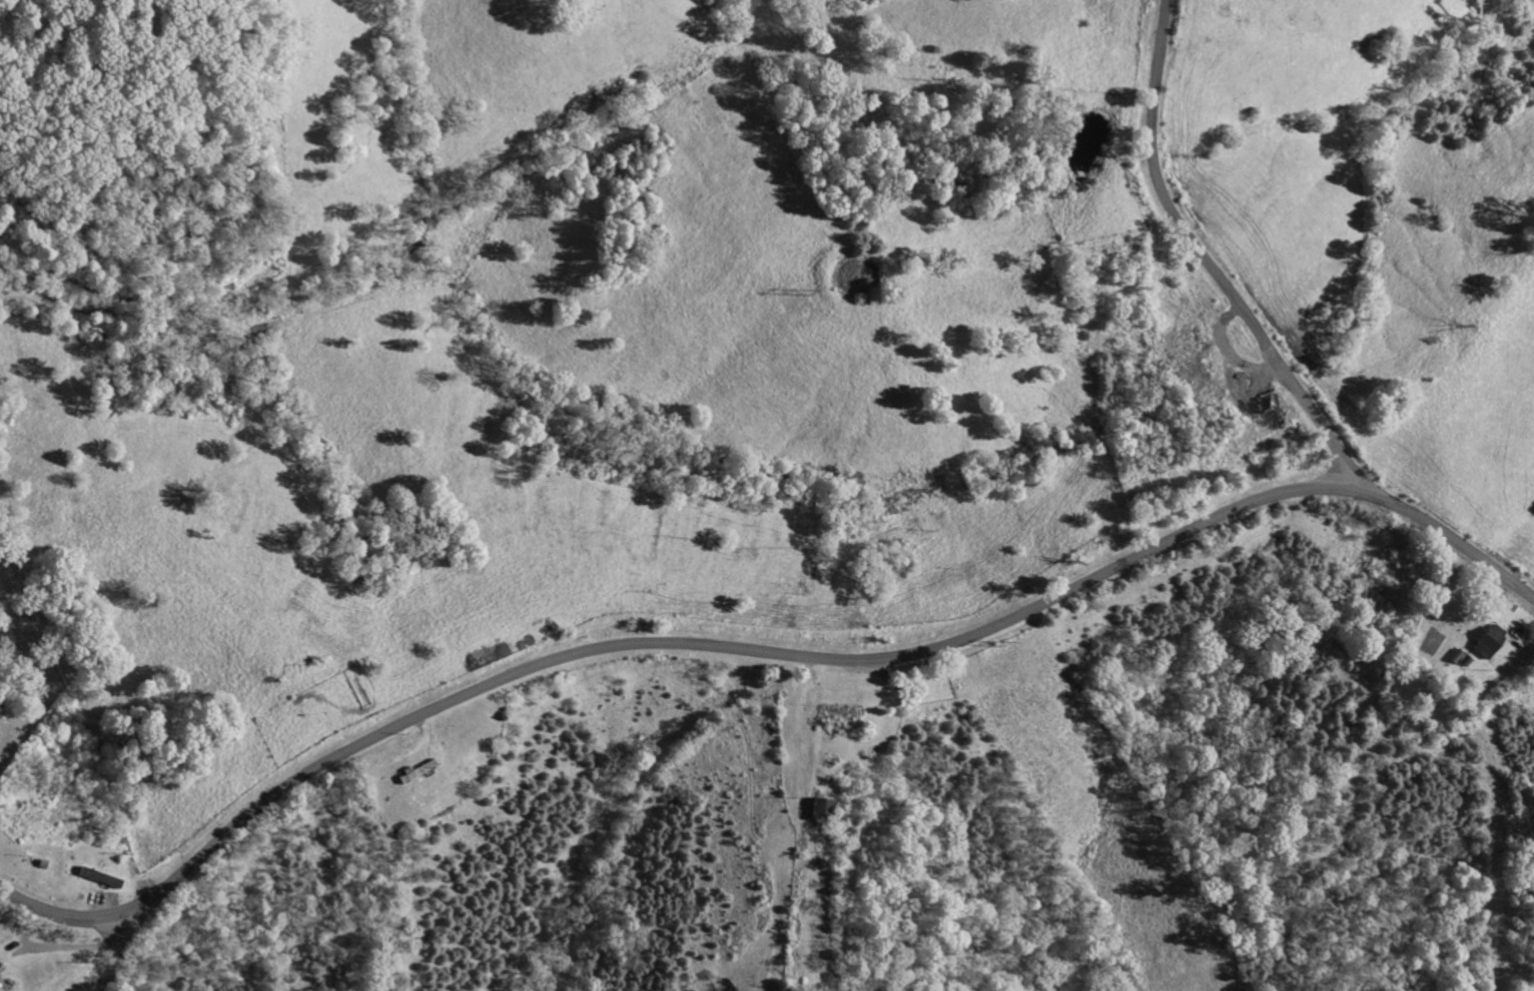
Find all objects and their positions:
road: (1205, 260)
building: (1487, 640)
road: (759, 649)
building: (822, 807)
building: (99, 877)
road: (115, 952)
building: (0, 990)

